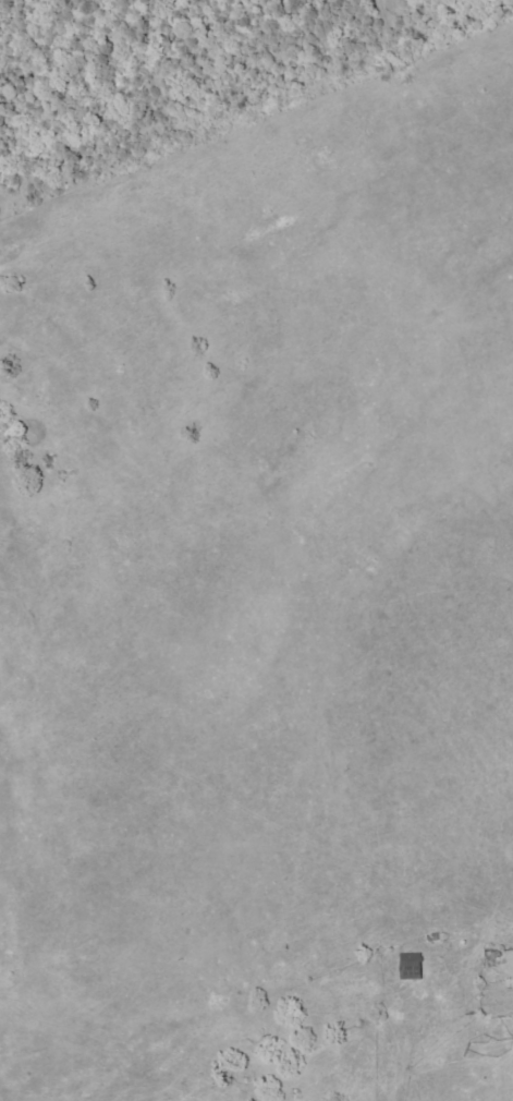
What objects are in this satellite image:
building: (414, 965)

